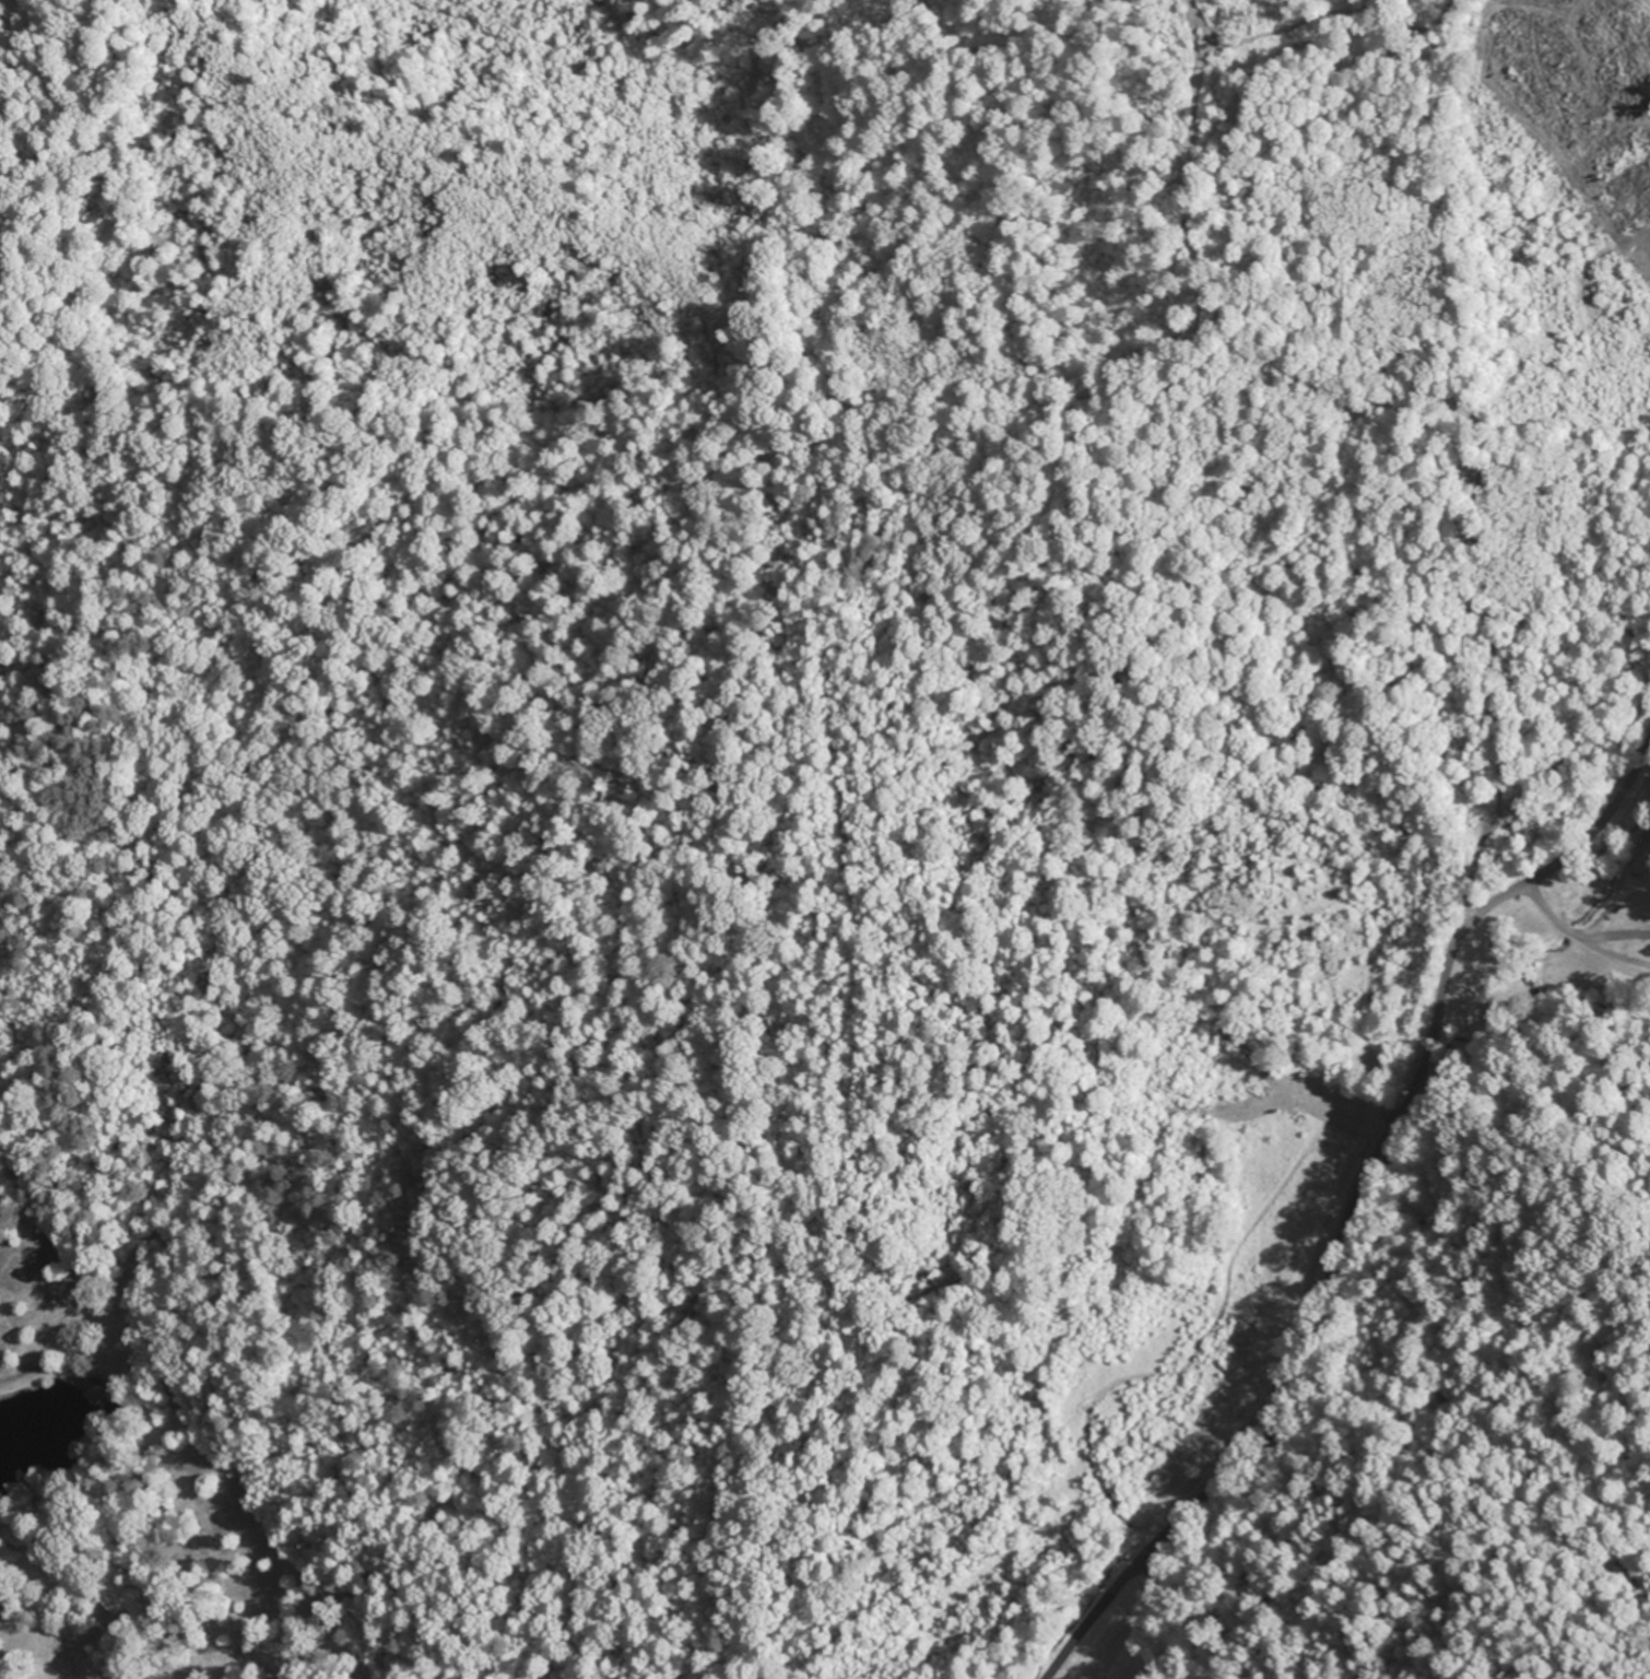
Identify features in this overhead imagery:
road: (1351, 1208)

